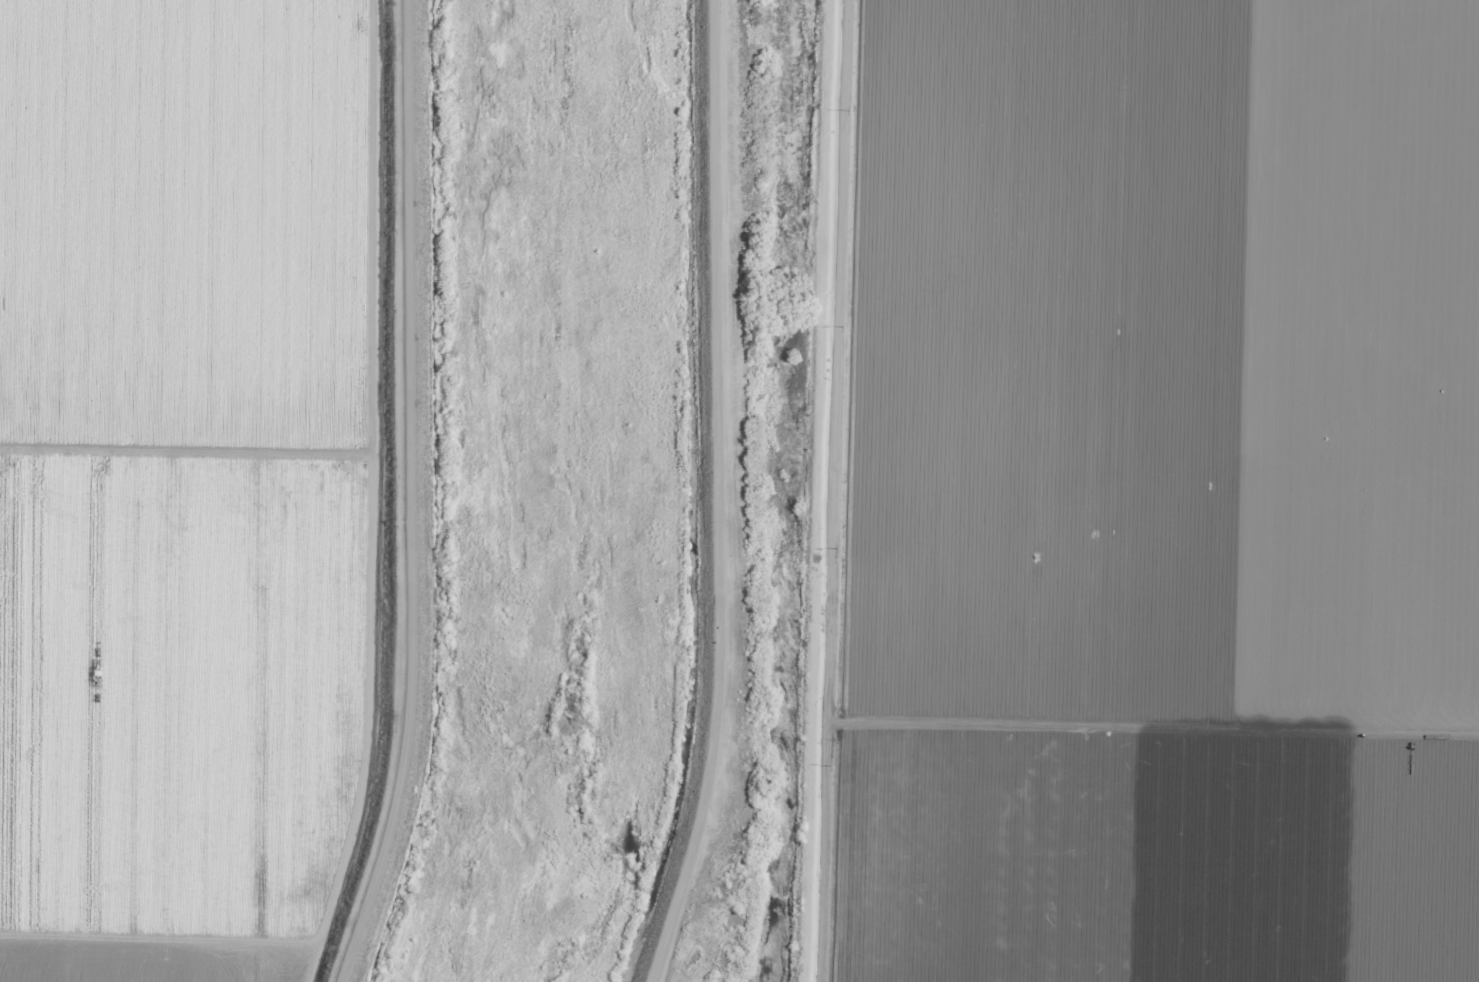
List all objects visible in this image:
crop: (199, 481)
river: (534, 492)
crop: (1119, 492)
road: (713, 495)

